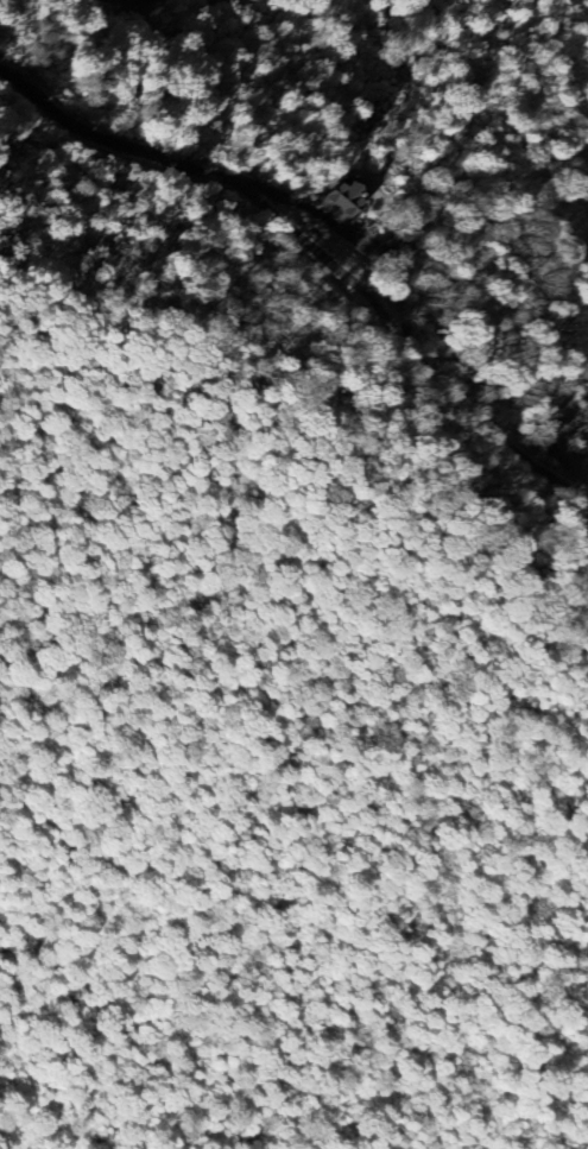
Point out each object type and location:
building: (335, 200)
road: (284, 227)

